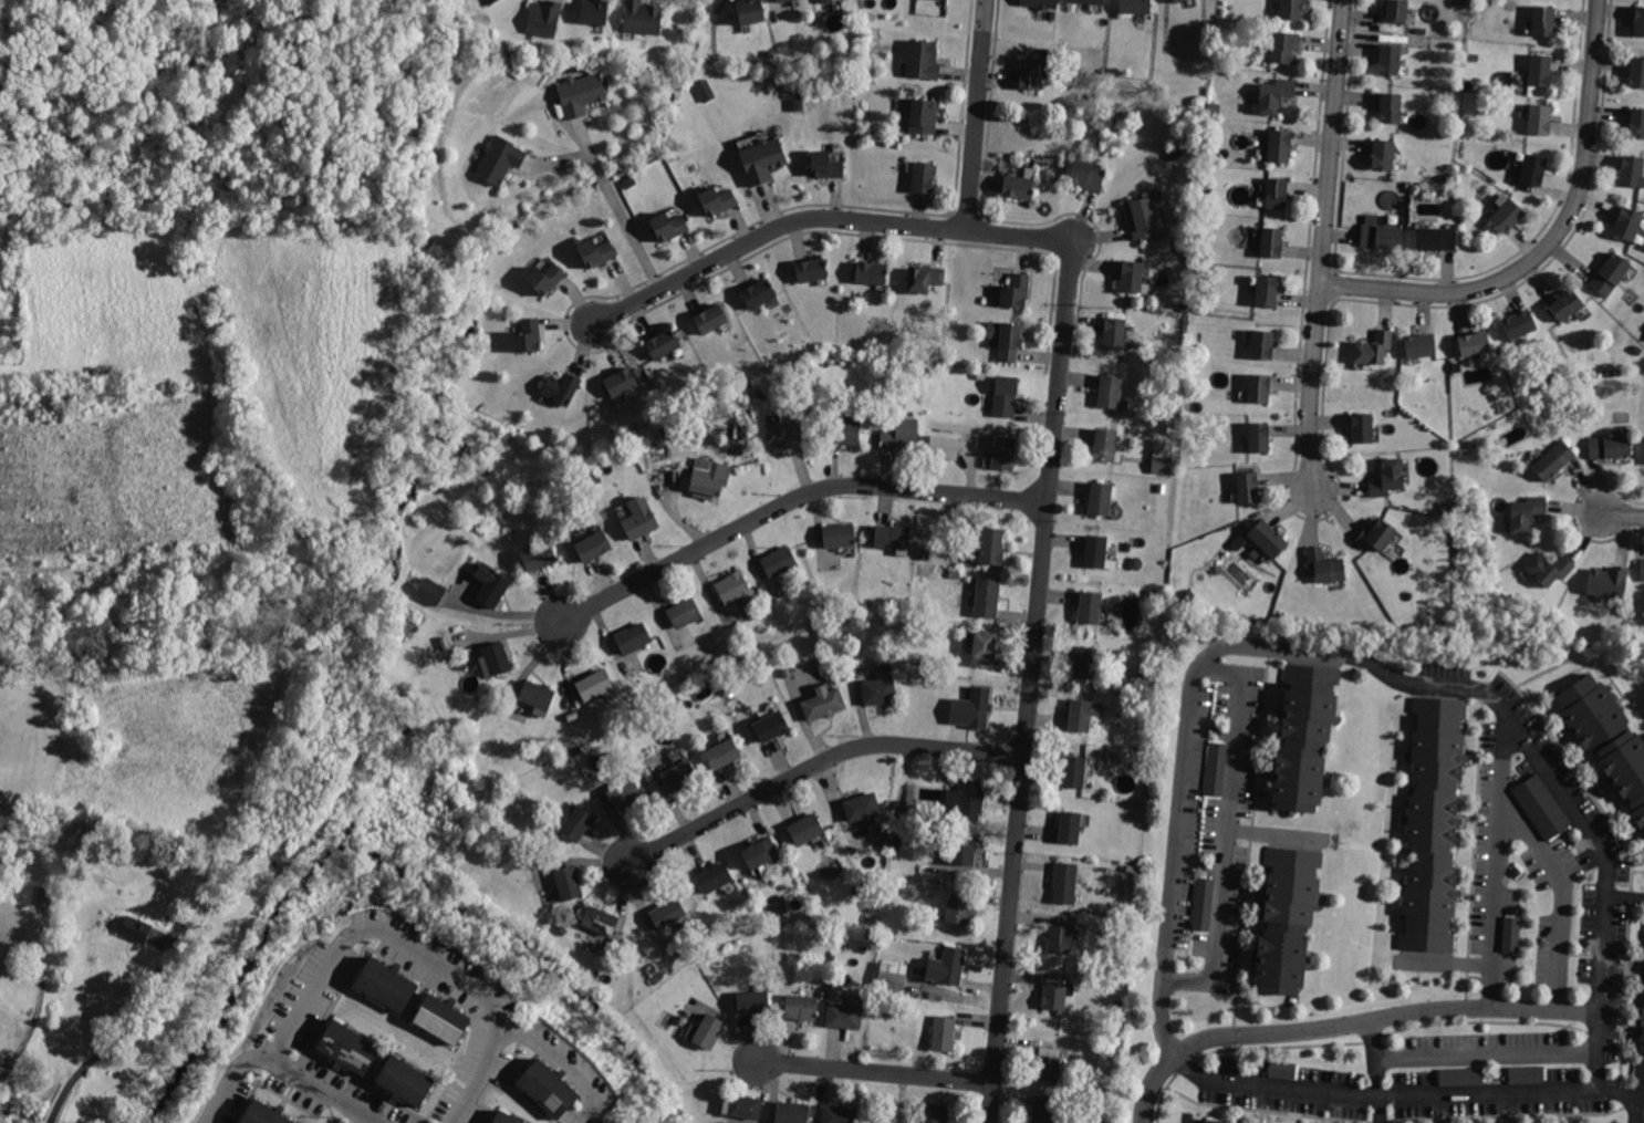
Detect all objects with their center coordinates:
building: (488, 0)
building: (779, 0)
building: (782, 0)
building: (821, 0)
building: (937, 0)
building: (1178, 1)
building: (495, 2)
building: (1088, 2)
building: (1041, 4)
building: (1135, 7)
building: (1291, 10)
building: (1395, 11)
building: (749, 12)
building: (592, 13)
building: (545, 19)
building: (642, 19)
building: (1543, 22)
building: (1638, 22)
building: (1284, 45)
building: (1388, 60)
building: (922, 62)
building: (1540, 72)
building: (1636, 74)
building: (1031, 75)
building: (580, 93)
building: (1276, 96)
building: (1390, 106)
road: (975, 115)
building: (923, 117)
building: (1539, 119)
building: (1635, 123)
building: (1279, 144)
building: (1382, 155)
building: (762, 158)
building: (501, 160)
building: (825, 164)
building: (1532, 169)
building: (1632, 170)
building: (1090, 175)
building: (923, 176)
building: (1019, 185)
building: (1277, 193)
building: (717, 199)
building: (1507, 214)
road: (621, 216)
building: (1141, 218)
road: (822, 219)
building: (1626, 221)
building: (669, 225)
building: (1381, 236)
building: (1436, 237)
road: (1553, 239)
building: (1272, 240)
road: (1324, 242)
building: (597, 251)
building: (811, 269)
building: (870, 270)
building: (1609, 273)
building: (1133, 277)
building: (545, 278)
building: (924, 278)
building: (1017, 289)
building: (1266, 290)
building: (760, 291)
building: (1567, 304)
building: (710, 316)
building: (1520, 322)
building: (1114, 331)
building: (528, 334)
building: (1009, 337)
building: (1474, 341)
building: (664, 342)
building: (1421, 343)
building: (1262, 344)
building: (1374, 345)
building: (621, 381)
building: (1258, 387)
building: (560, 388)
building: (1110, 389)
building: (1006, 395)
building: (1362, 427)
building: (784, 433)
building: (845, 433)
building: (901, 435)
building: (1259, 436)
building: (1105, 443)
building: (1611, 446)
building: (947, 447)
building: (1003, 451)
building: (1161, 457)
building: (1555, 460)
building: (709, 477)
building: (1386, 478)
park: (49, 487)
building: (1248, 487)
building: (1101, 498)
road: (789, 502)
building: (1527, 511)
road: (1622, 514)
building: (638, 518)
building: (840, 534)
building: (1376, 534)
building: (893, 535)
building: (1269, 539)
building: (591, 544)
building: (992, 545)
building: (1095, 549)
building: (538, 555)
building: (780, 559)
building: (1324, 564)
building: (1550, 568)
building: (1643, 568)
building: (1609, 580)
building: (490, 583)
building: (733, 588)
building: (429, 592)
building: (987, 597)
building: (1090, 606)
building: (683, 611)
road: (499, 616)
building: (160, 618)
building: (633, 636)
building: (981, 648)
building: (497, 658)
building: (1085, 662)
road: (1027, 683)
building: (593, 684)
building: (878, 690)
building: (537, 695)
building: (822, 703)
building: (977, 709)
building: (1083, 714)
building: (770, 725)
building: (1607, 737)
building: (1302, 741)
building: (725, 752)
road: (815, 767)
building: (1216, 769)
building: (1075, 771)
building: (679, 776)
building: (624, 793)
building: (967, 799)
building: (862, 804)
building: (1547, 811)
building: (575, 823)
building: (1432, 824)
building: (1070, 825)
building: (805, 828)
road: (1230, 835)
building: (761, 850)
building: (965, 850)
road: (1250, 850)
road: (1176, 855)
road: (1497, 863)
building: (716, 876)
building: (569, 881)
building: (1065, 883)
road: (1560, 898)
building: (1203, 911)
building: (960, 912)
building: (667, 913)
road: (34, 918)
building: (1283, 919)
building: (600, 921)
building: (135, 929)
building: (1518, 933)
building: (1060, 939)
road: (18, 942)
road: (1605, 945)
building: (27, 947)
road: (415, 954)
building: (948, 966)
building: (893, 981)
building: (385, 984)
road: (35, 991)
building: (1055, 997)
building: (753, 1001)
building: (800, 1006)
building: (843, 1016)
building: (439, 1019)
road: (1350, 1023)
building: (708, 1032)
building: (945, 1033)
road: (1362, 1042)
building: (346, 1047)
road: (562, 1059)
building: (1049, 1064)
building: (1642, 1067)
road: (288, 1068)
building: (1282, 1070)
building: (1527, 1072)
road: (872, 1073)
building: (1461, 1075)
building: (405, 1080)
building: (543, 1088)
building: (745, 1105)
building: (1044, 1110)
building: (792, 1111)
building: (934, 1112)
building: (263, 1113)
building: (840, 1113)
building: (506, 1119)
building: (1217, 1121)
road: (1403, 1122)

